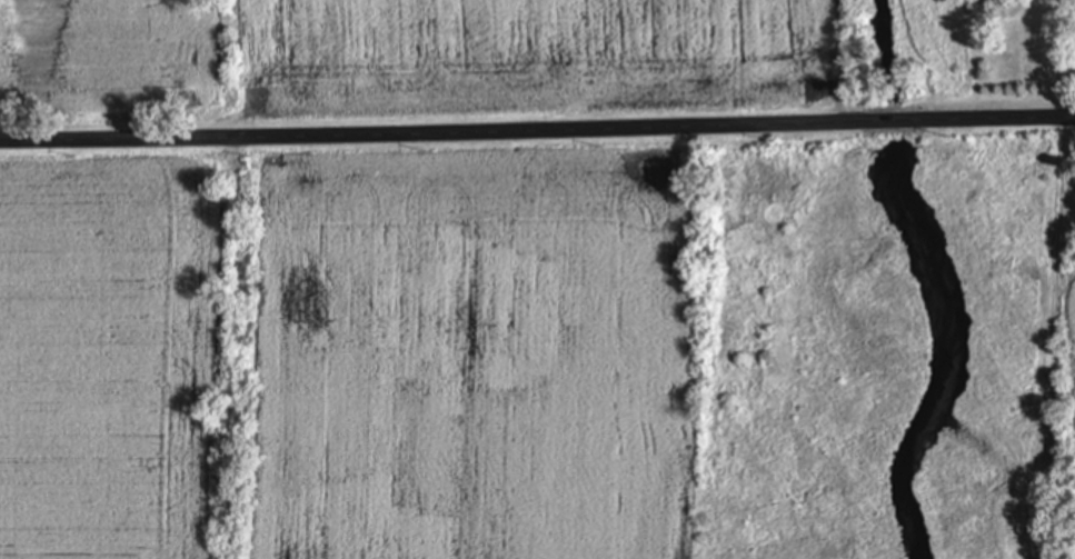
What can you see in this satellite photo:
road: (989, 119)
road: (894, 120)
road: (441, 126)

